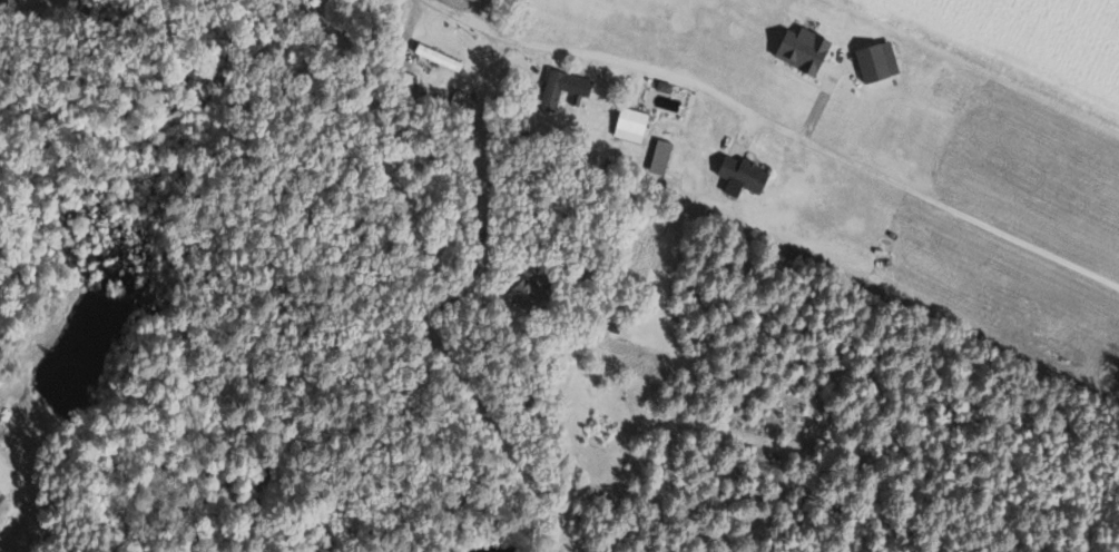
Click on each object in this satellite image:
road: (477, 12)
building: (798, 49)
building: (443, 57)
road: (587, 59)
building: (873, 61)
building: (567, 87)
road: (375, 121)
building: (636, 125)
building: (664, 157)
building: (736, 175)
road: (939, 204)

